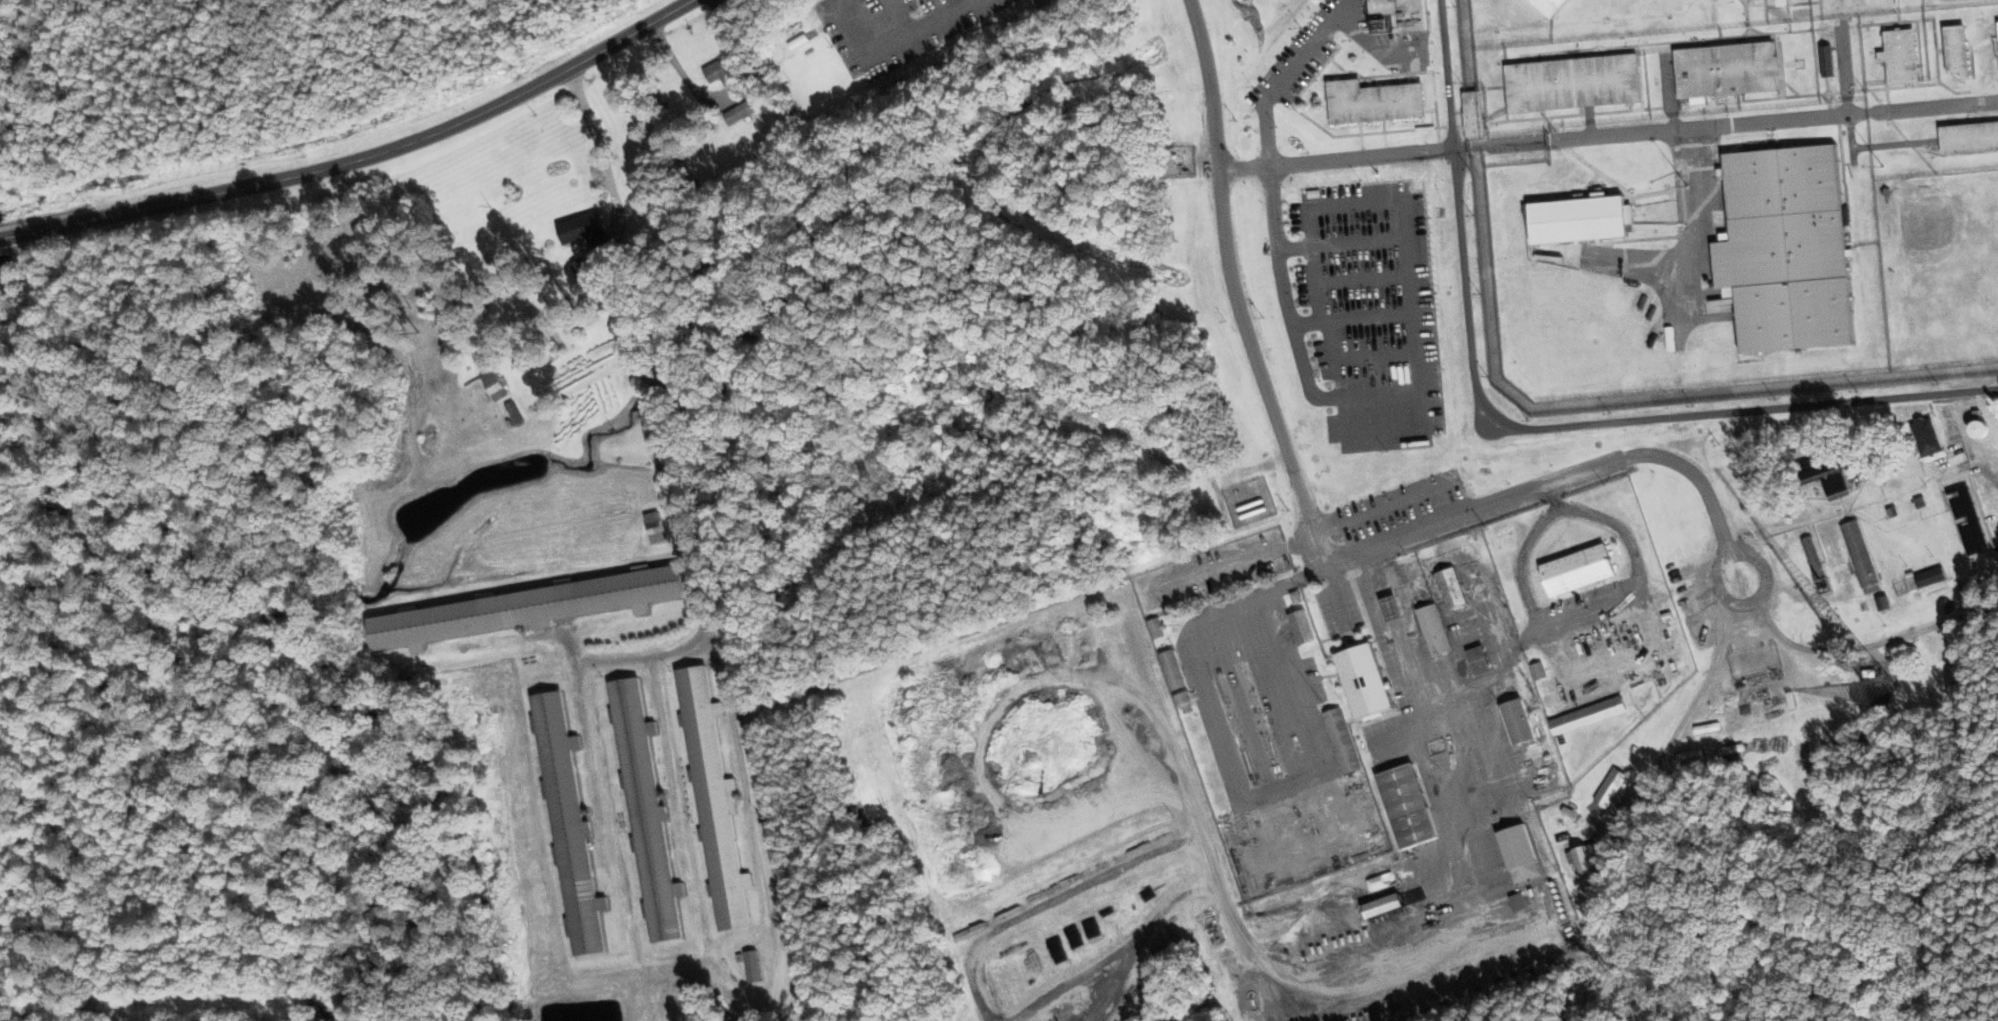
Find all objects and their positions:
building: (1550, 6)
building: (1397, 15)
road: (934, 18)
building: (1956, 50)
building: (1900, 56)
building: (1826, 61)
building: (1725, 70)
building: (719, 72)
road: (1279, 82)
building: (1572, 83)
building: (1373, 101)
building: (1470, 113)
building: (1969, 137)
road: (362, 157)
road: (1334, 161)
building: (1580, 220)
building: (581, 231)
building: (1785, 249)
road: (1234, 288)
wastewater plant: (1570, 350)
road: (644, 352)
building: (493, 385)
road: (1389, 395)
road: (1531, 428)
building: (1926, 437)
building: (1819, 468)
road: (1991, 480)
building: (1835, 485)
road: (1486, 509)
building: (1968, 521)
building: (653, 528)
building: (1860, 557)
road: (1236, 561)
road: (1721, 561)
building: (1577, 571)
building: (1929, 577)
building: (1450, 588)
building: (1390, 608)
building: (518, 610)
building: (1302, 627)
building: (1156, 628)
building: (1433, 630)
road: (1871, 645)
building: (1172, 668)
building: (1538, 671)
building: (1363, 681)
building: (1182, 697)
road: (1689, 706)
building: (1587, 715)
building: (1517, 722)
building: (1342, 740)
building: (1609, 787)
building: (713, 796)
building: (1407, 805)
building: (645, 809)
building: (568, 822)
building: (1519, 852)
building: (1586, 857)
building: (1517, 901)
building: (1382, 904)

